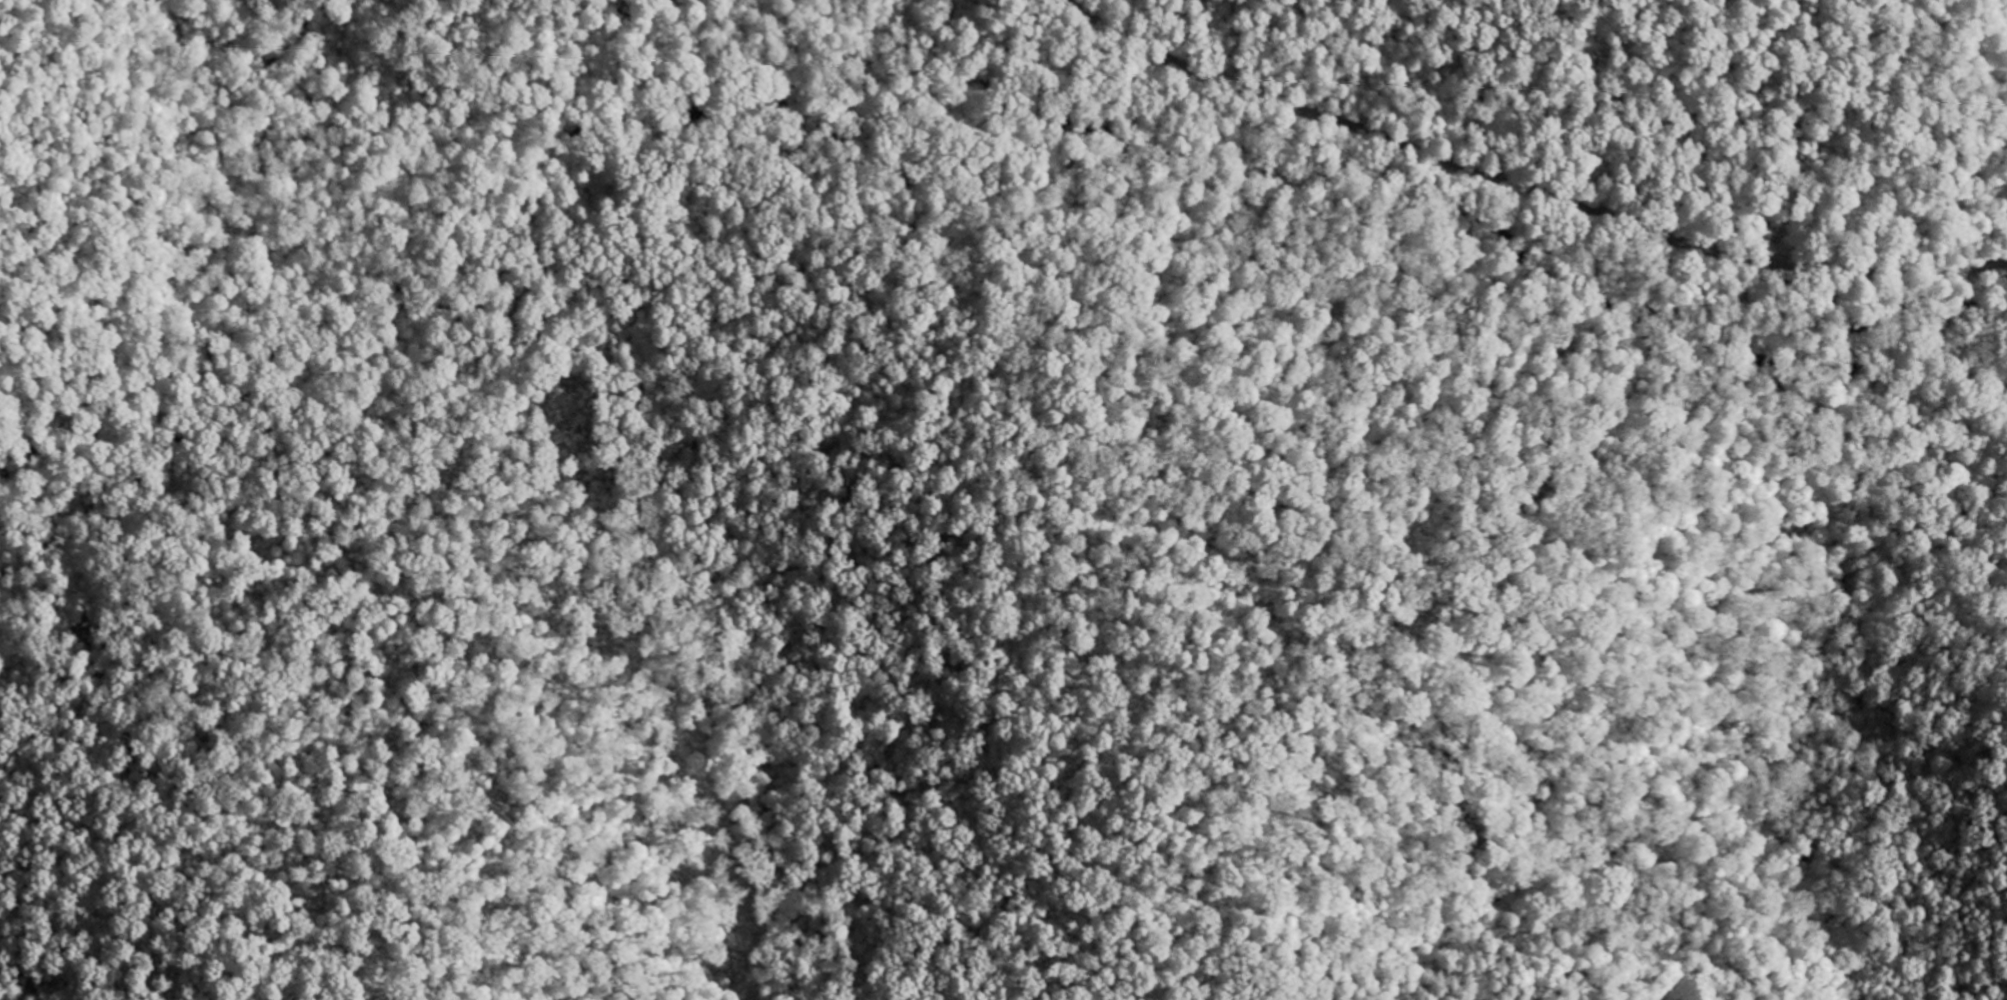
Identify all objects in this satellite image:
road: (1525, 187)

